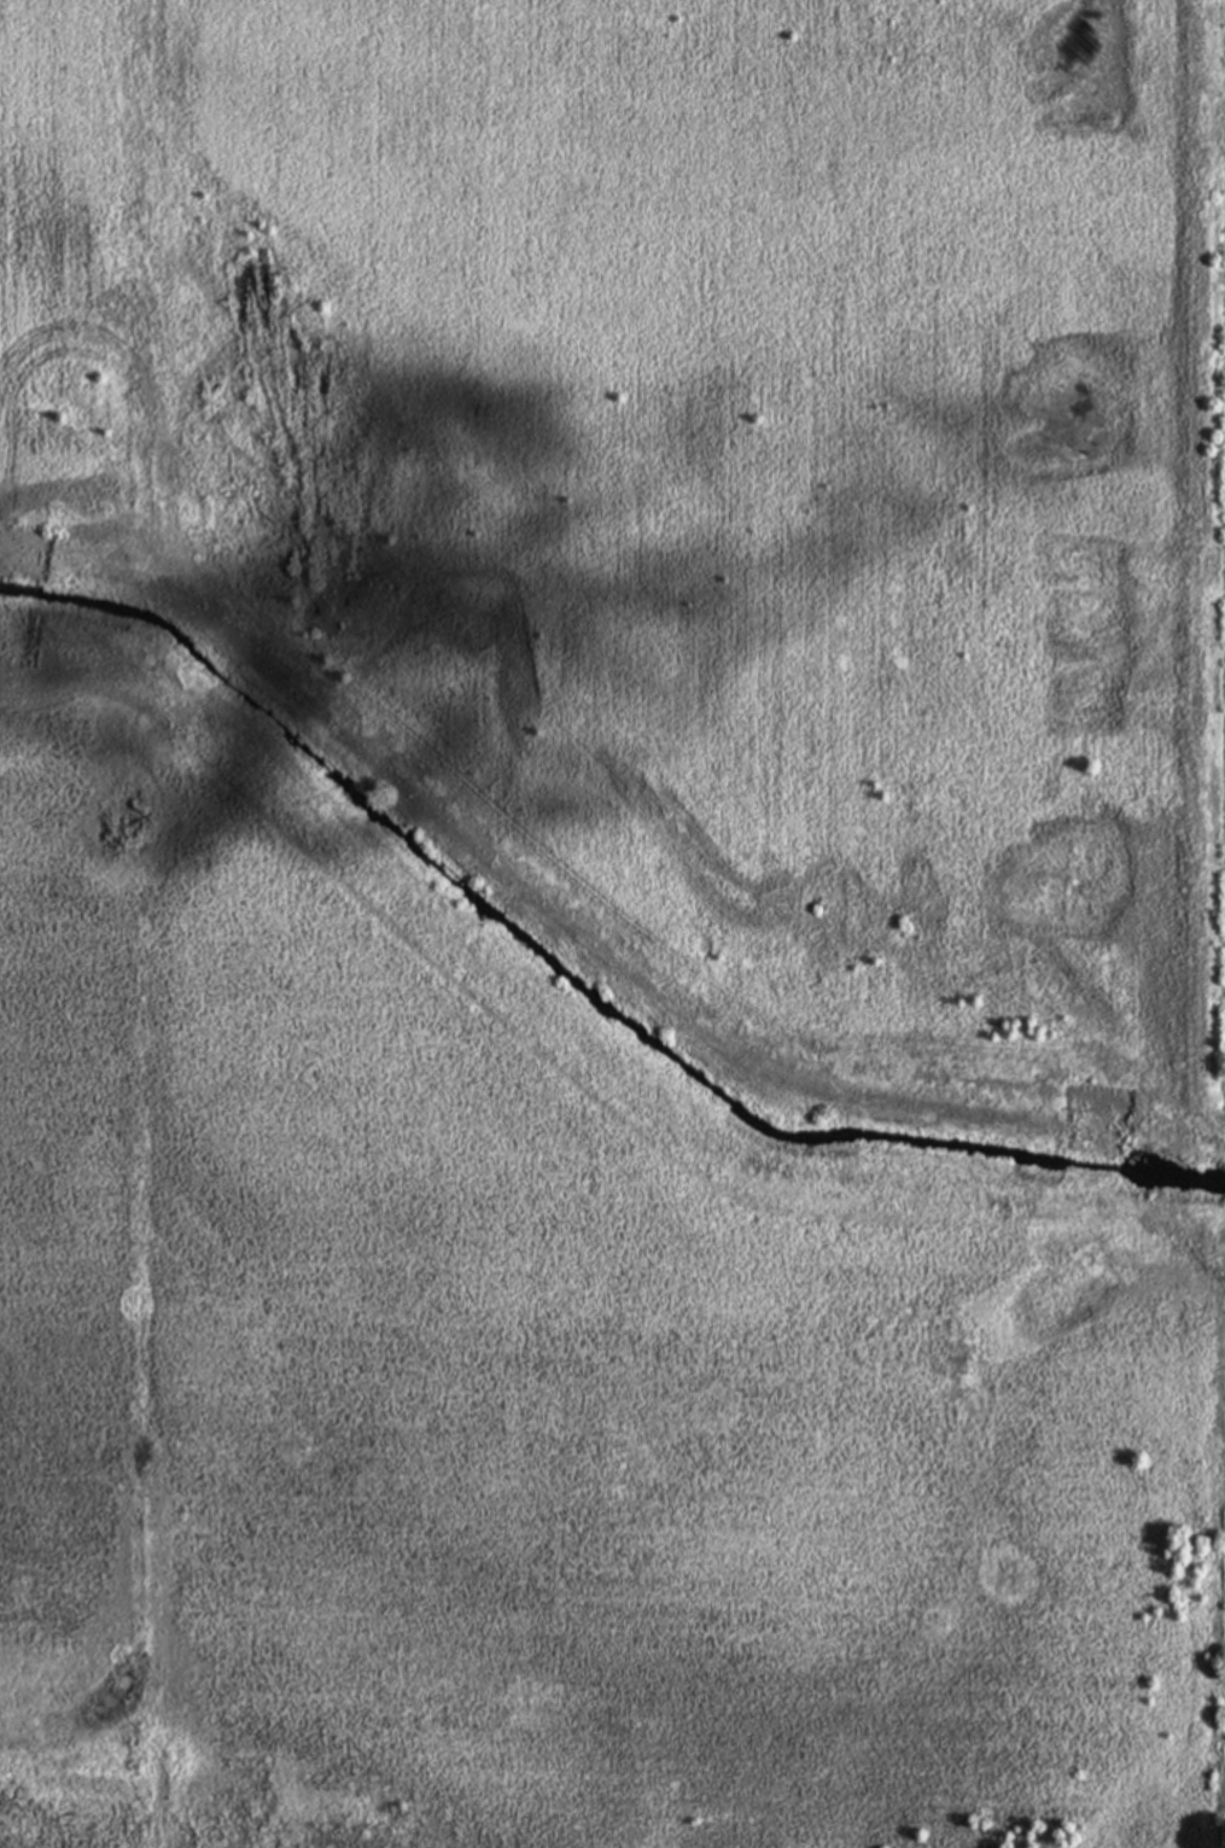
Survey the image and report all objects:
road: (818, 1089)
parking lot: (1097, 1118)

